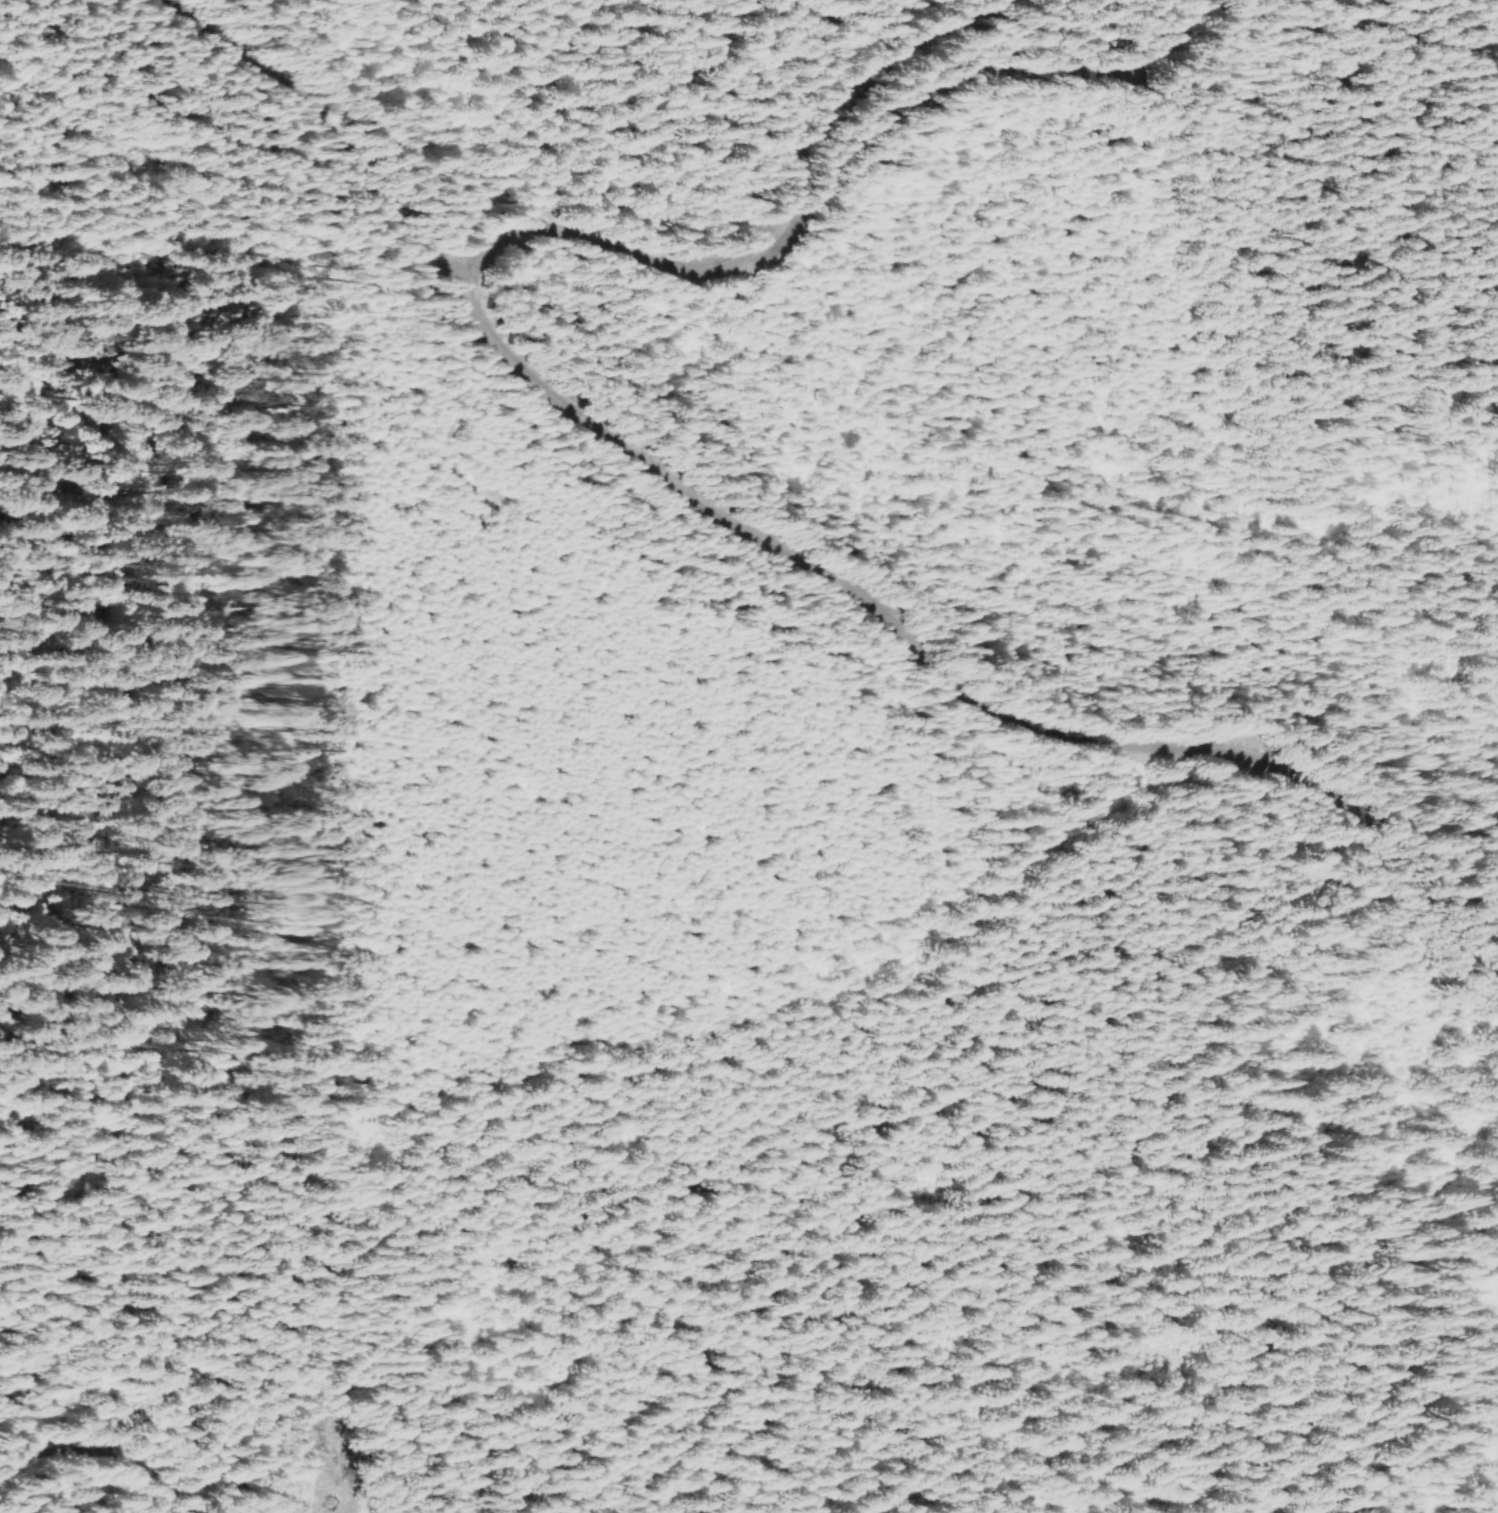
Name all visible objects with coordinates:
road: (948, 88)
road: (333, 133)
road: (673, 493)
road: (100, 1453)

